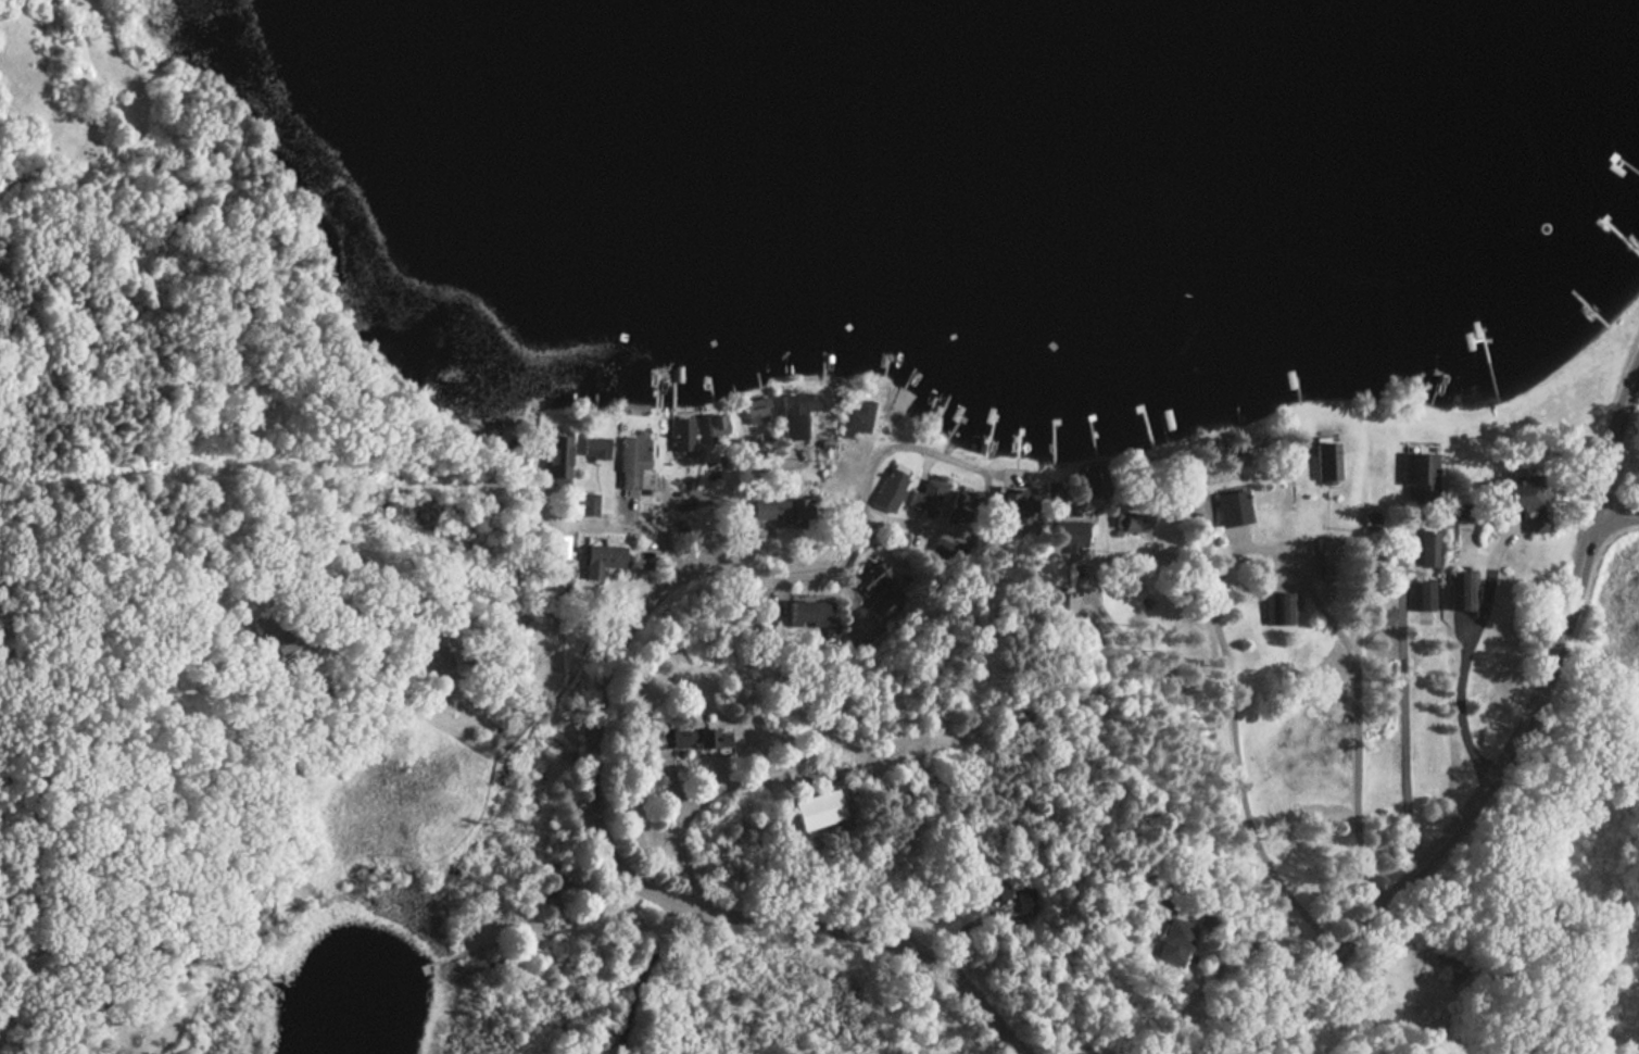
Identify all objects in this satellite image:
road: (105, 121)
park: (178, 334)
building: (898, 406)
building: (754, 412)
building: (796, 412)
building: (858, 414)
building: (716, 427)
building: (682, 435)
building: (595, 447)
building: (557, 460)
building: (1325, 460)
building: (632, 461)
building: (1420, 475)
building: (931, 498)
building: (1512, 500)
building: (1223, 506)
road: (1618, 509)
building: (772, 511)
road: (947, 525)
road: (625, 532)
building: (1069, 537)
road: (860, 547)
building: (602, 560)
road: (1470, 661)
road: (446, 672)
road: (1360, 704)
road: (1212, 707)
road: (1403, 717)
building: (683, 738)
road: (1508, 751)
road: (1246, 753)
road: (710, 796)
building: (814, 810)
park: (1526, 883)
road: (658, 893)
building: (1169, 942)
road: (650, 969)

